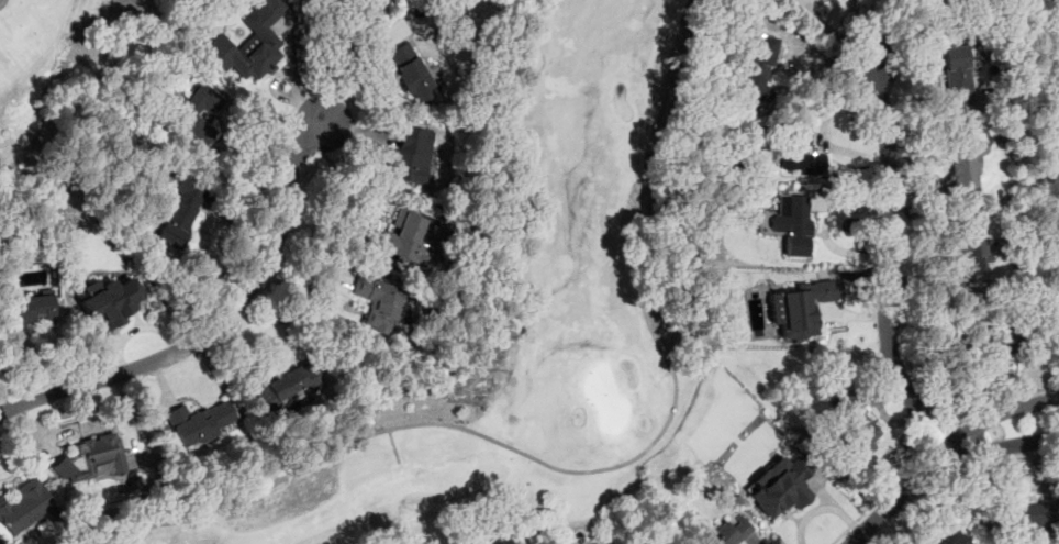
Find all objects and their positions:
building: (932, 0)
road: (1, 2)
road: (831, 33)
building: (250, 42)
building: (1057, 42)
park: (40, 52)
road: (323, 66)
building: (757, 73)
building: (411, 74)
building: (957, 76)
building: (199, 112)
building: (800, 151)
building: (410, 156)
building: (965, 167)
road: (233, 181)
building: (182, 211)
road: (366, 213)
building: (792, 223)
building: (406, 233)
building: (973, 245)
road: (888, 264)
building: (109, 300)
building: (378, 302)
building: (30, 308)
building: (801, 308)
road: (213, 324)
park: (511, 340)
building: (286, 388)
road: (1000, 400)
road: (999, 412)
building: (201, 423)
building: (850, 431)
road: (939, 441)
road: (1005, 445)
building: (93, 456)
road: (600, 469)
building: (779, 487)
road: (900, 496)
road: (881, 497)
building: (23, 507)
building: (1032, 513)
building: (727, 532)
building: (956, 540)

